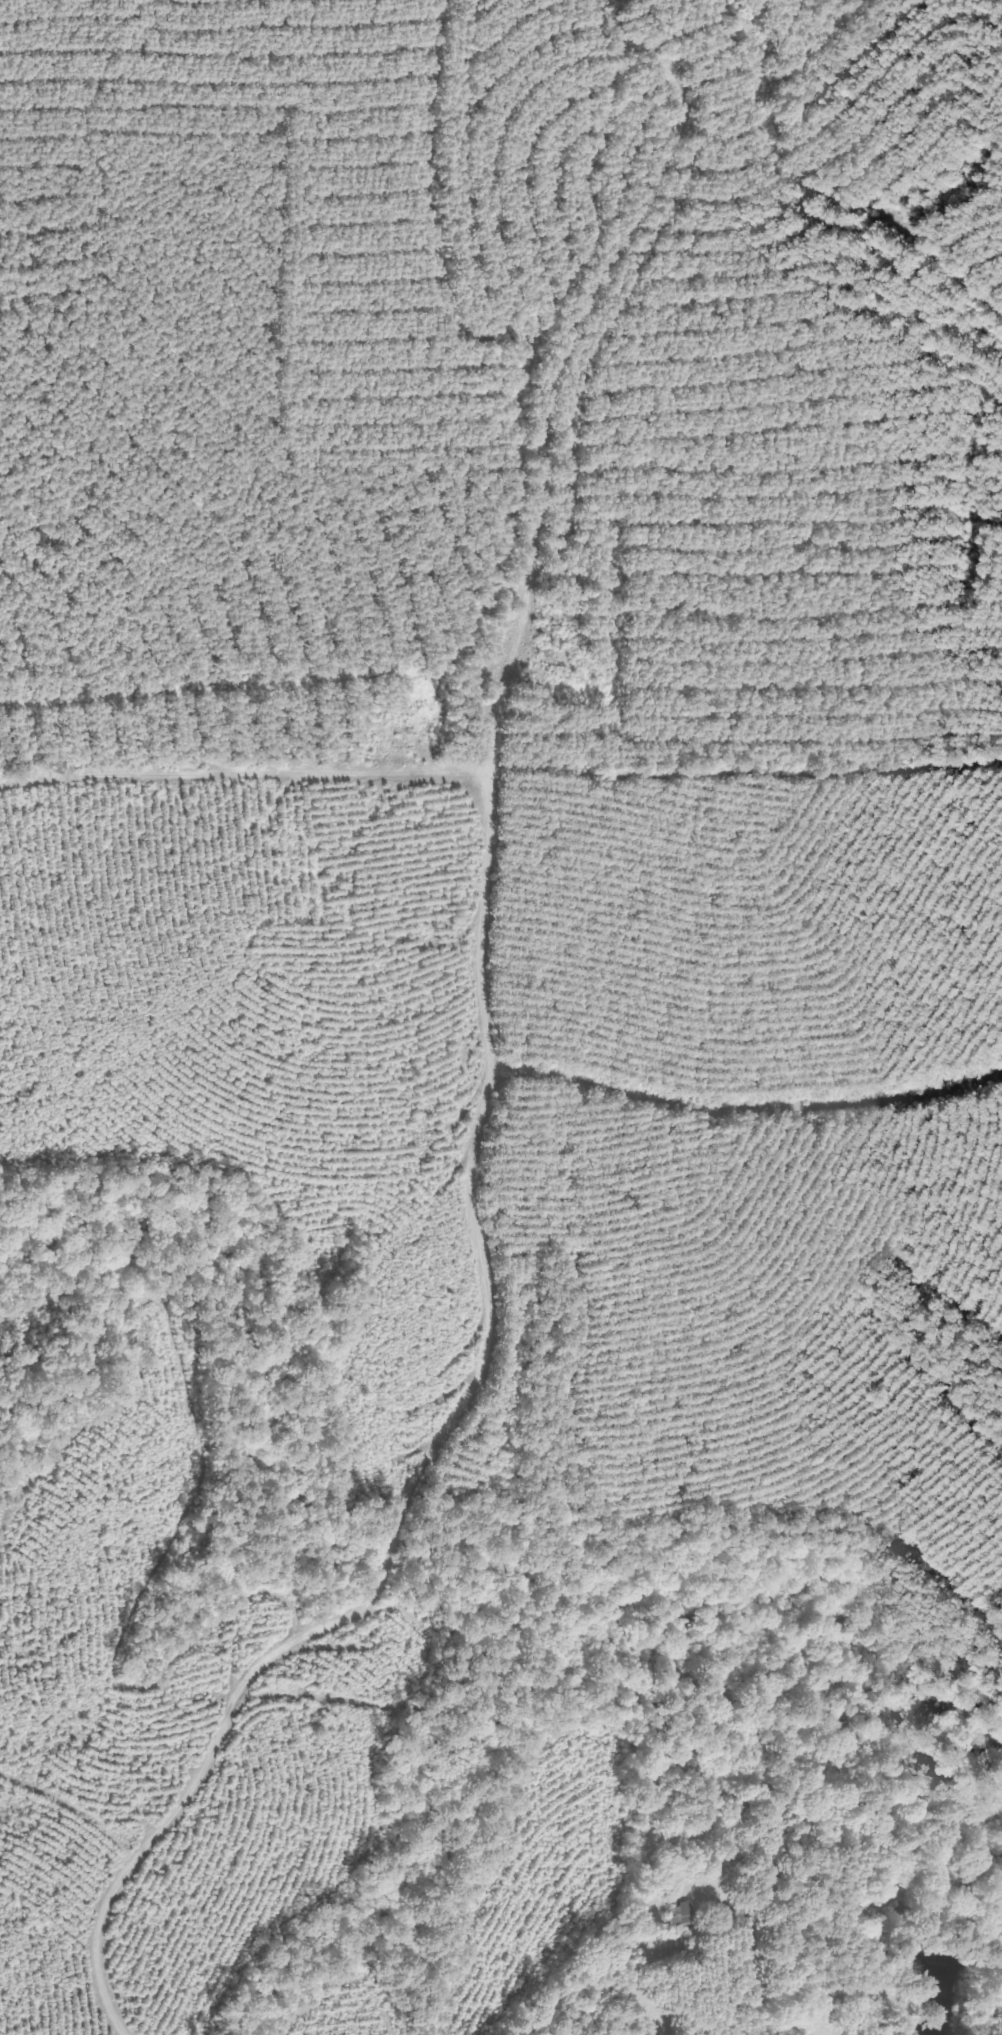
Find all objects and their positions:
building: (680, 1913)

